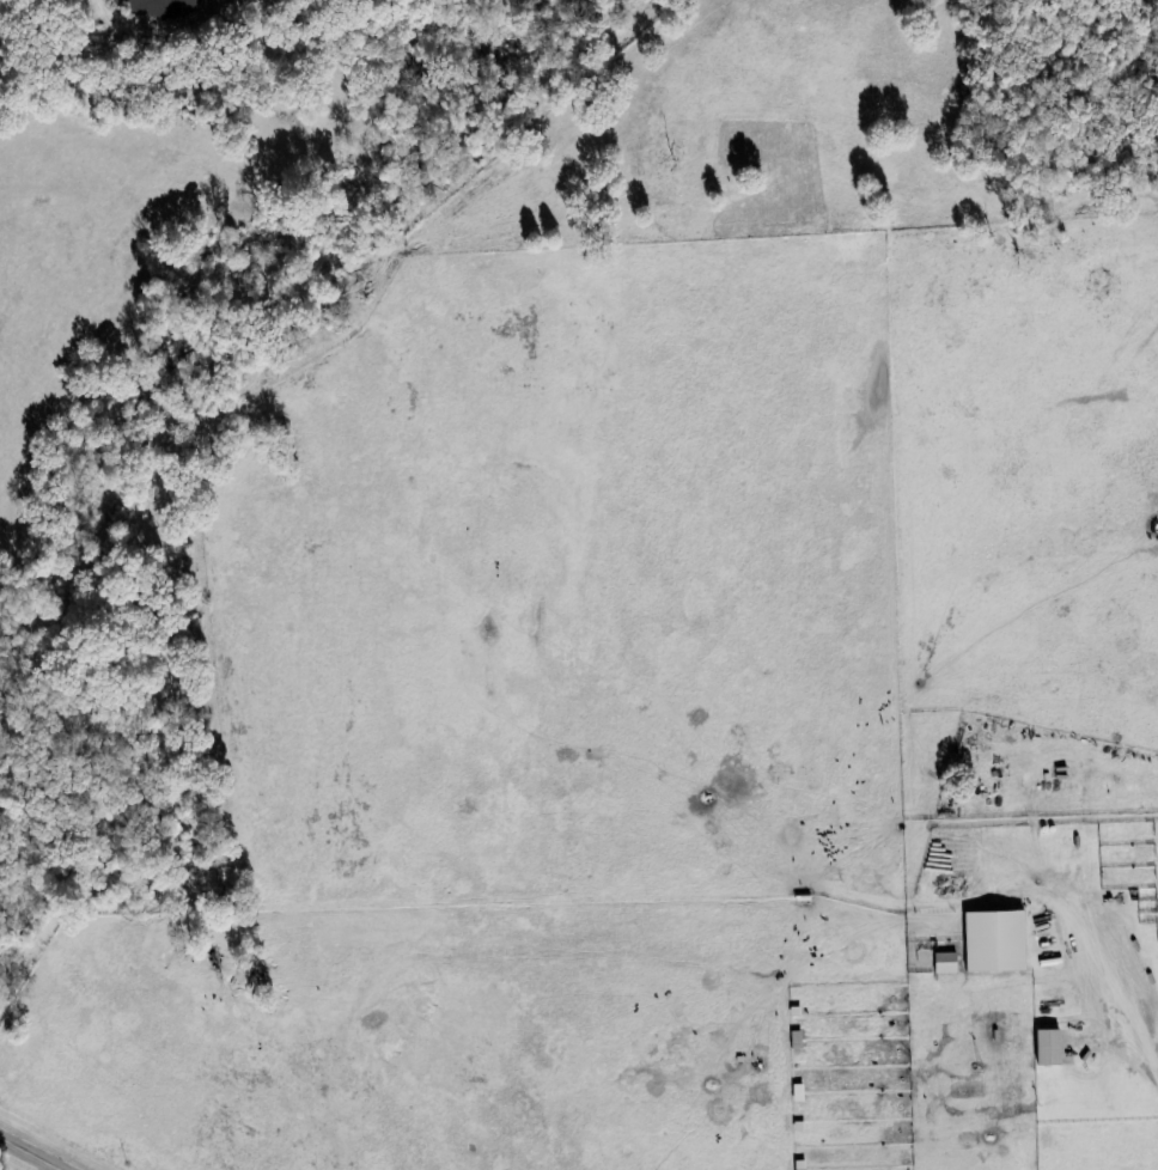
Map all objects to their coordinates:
building: (989, 943)
building: (940, 964)
road: (1136, 1035)
building: (1042, 1049)
road: (30, 1153)

